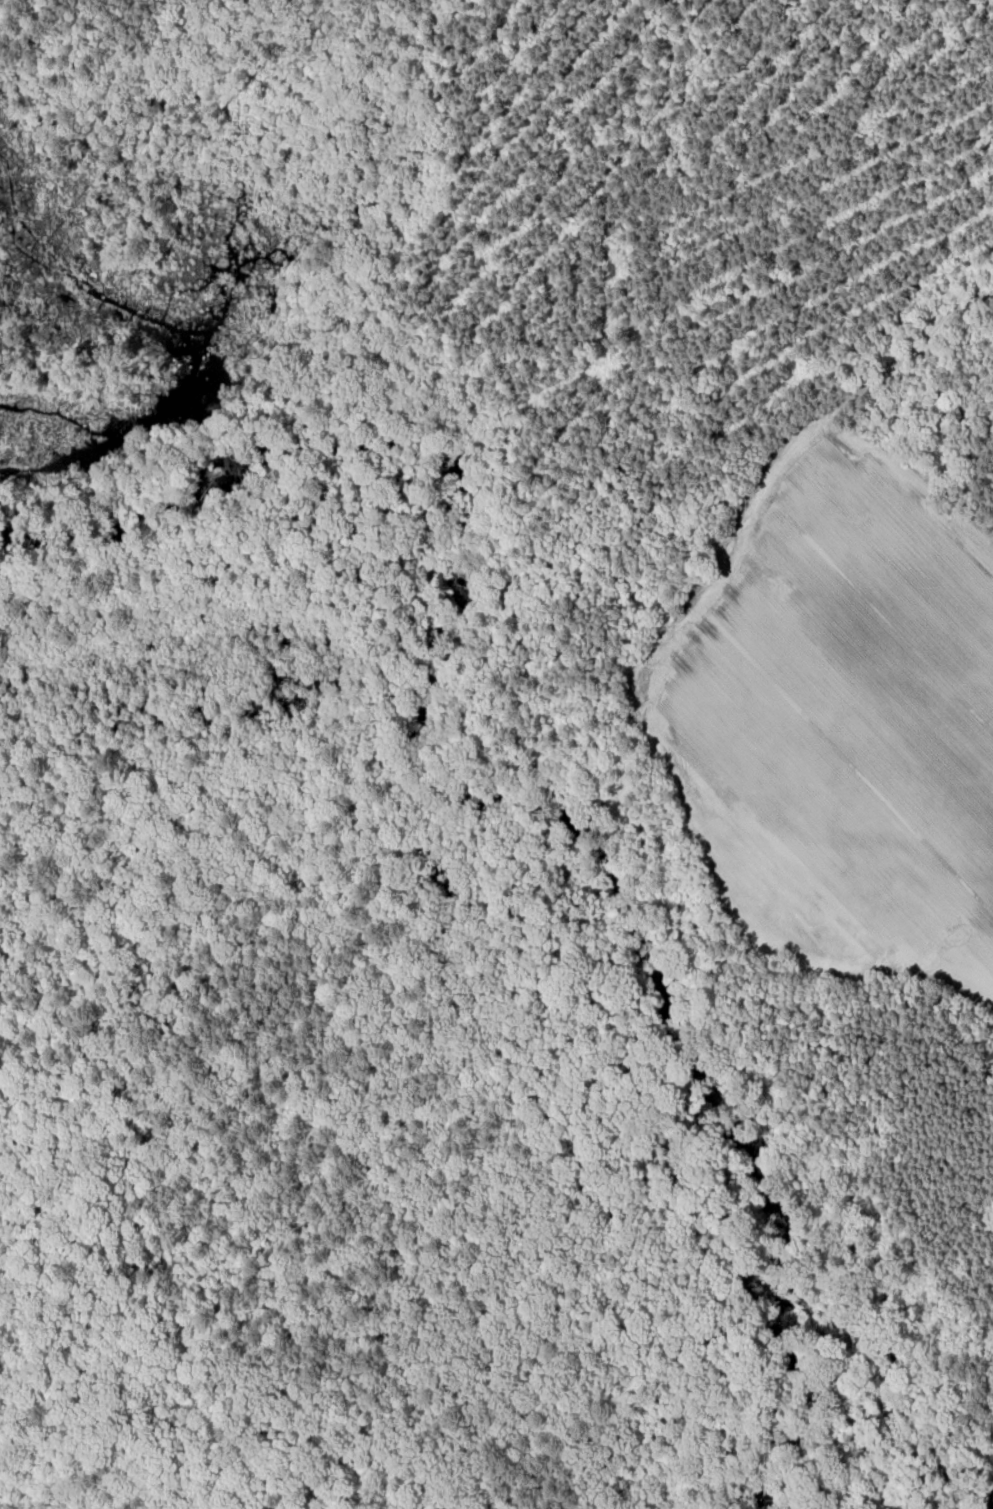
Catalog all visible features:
river: (497, 788)

